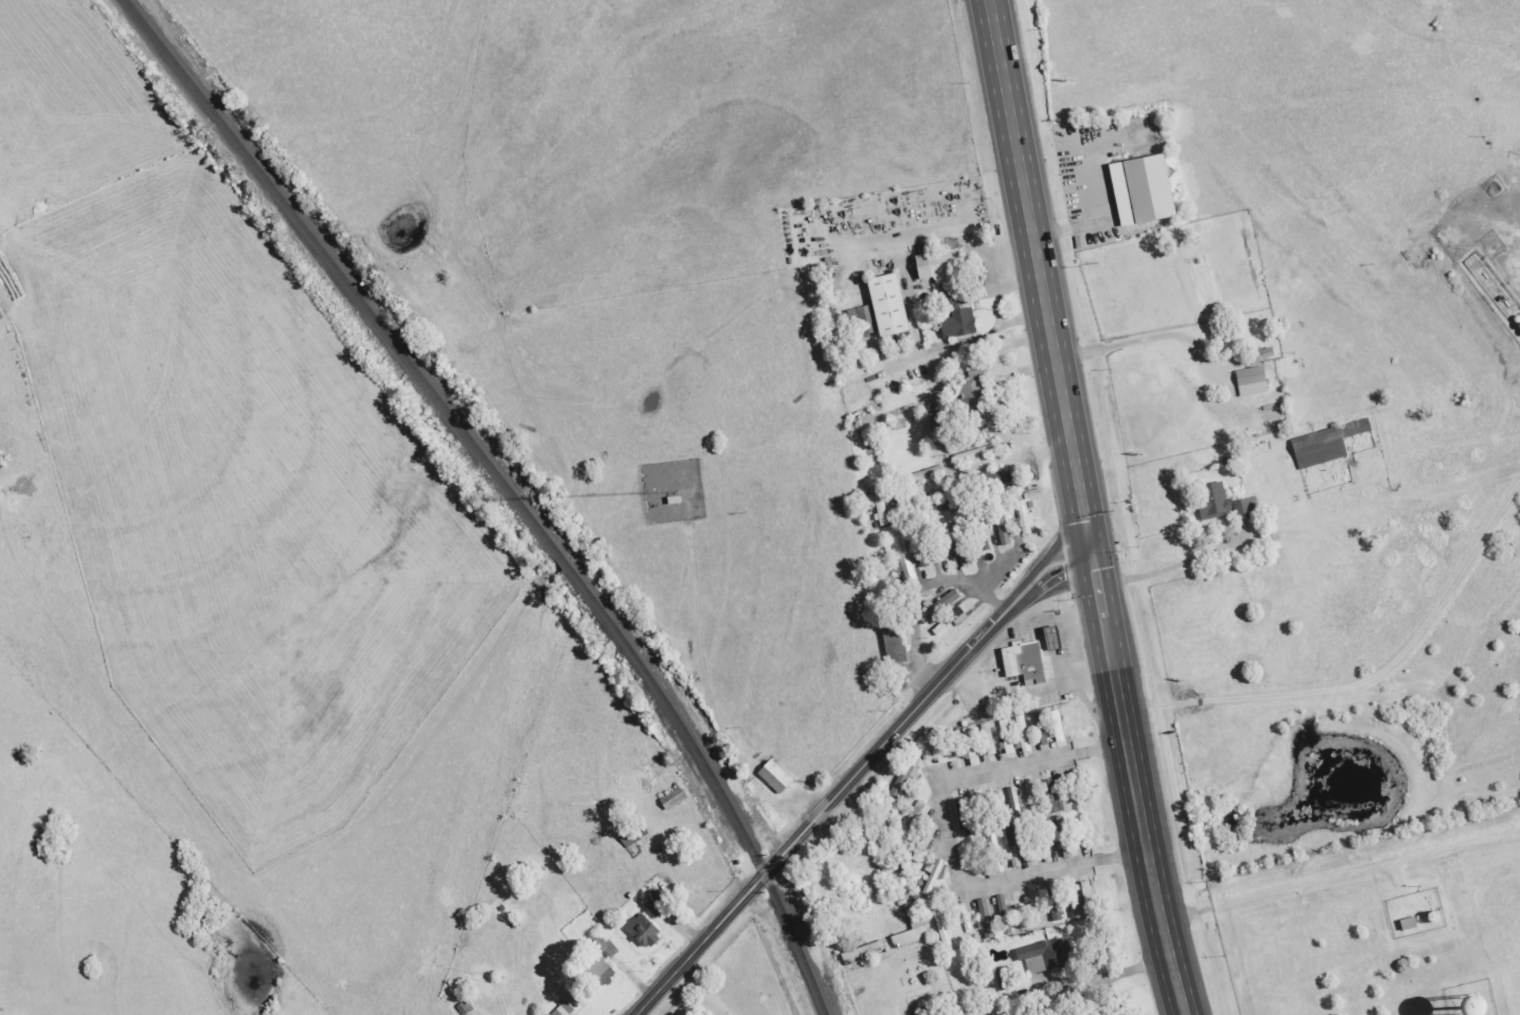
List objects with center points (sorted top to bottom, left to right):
building: (1145, 188)
building: (940, 266)
building: (886, 305)
building: (859, 316)
building: (957, 324)
road: (973, 339)
road: (1149, 339)
building: (1258, 355)
building: (1249, 381)
building: (1355, 428)
building: (1316, 448)
building: (921, 475)
building: (988, 482)
railway: (505, 487)
building: (1212, 500)
road: (1083, 507)
building: (1245, 508)
building: (1001, 525)
building: (902, 558)
road: (1165, 570)
building: (938, 606)
building: (949, 621)
building: (891, 643)
building: (1021, 661)
road: (1370, 681)
building: (1053, 724)
building: (1022, 733)
building: (1005, 736)
building: (987, 747)
road: (857, 770)
building: (772, 776)
building: (903, 776)
building: (670, 798)
building: (1005, 803)
building: (913, 816)
road: (947, 834)
building: (1059, 836)
building: (922, 845)
building: (993, 853)
building: (1013, 859)
building: (933, 876)
road: (1339, 877)
building: (1087, 899)
building: (653, 903)
building: (1004, 915)
building: (986, 918)
building: (1407, 924)
building: (641, 931)
building: (911, 934)
building: (978, 938)
building: (607, 949)
building: (862, 953)
building: (1046, 953)
building: (597, 971)
building: (1002, 979)
road: (702, 989)
building: (572, 996)
building: (562, 1009)

